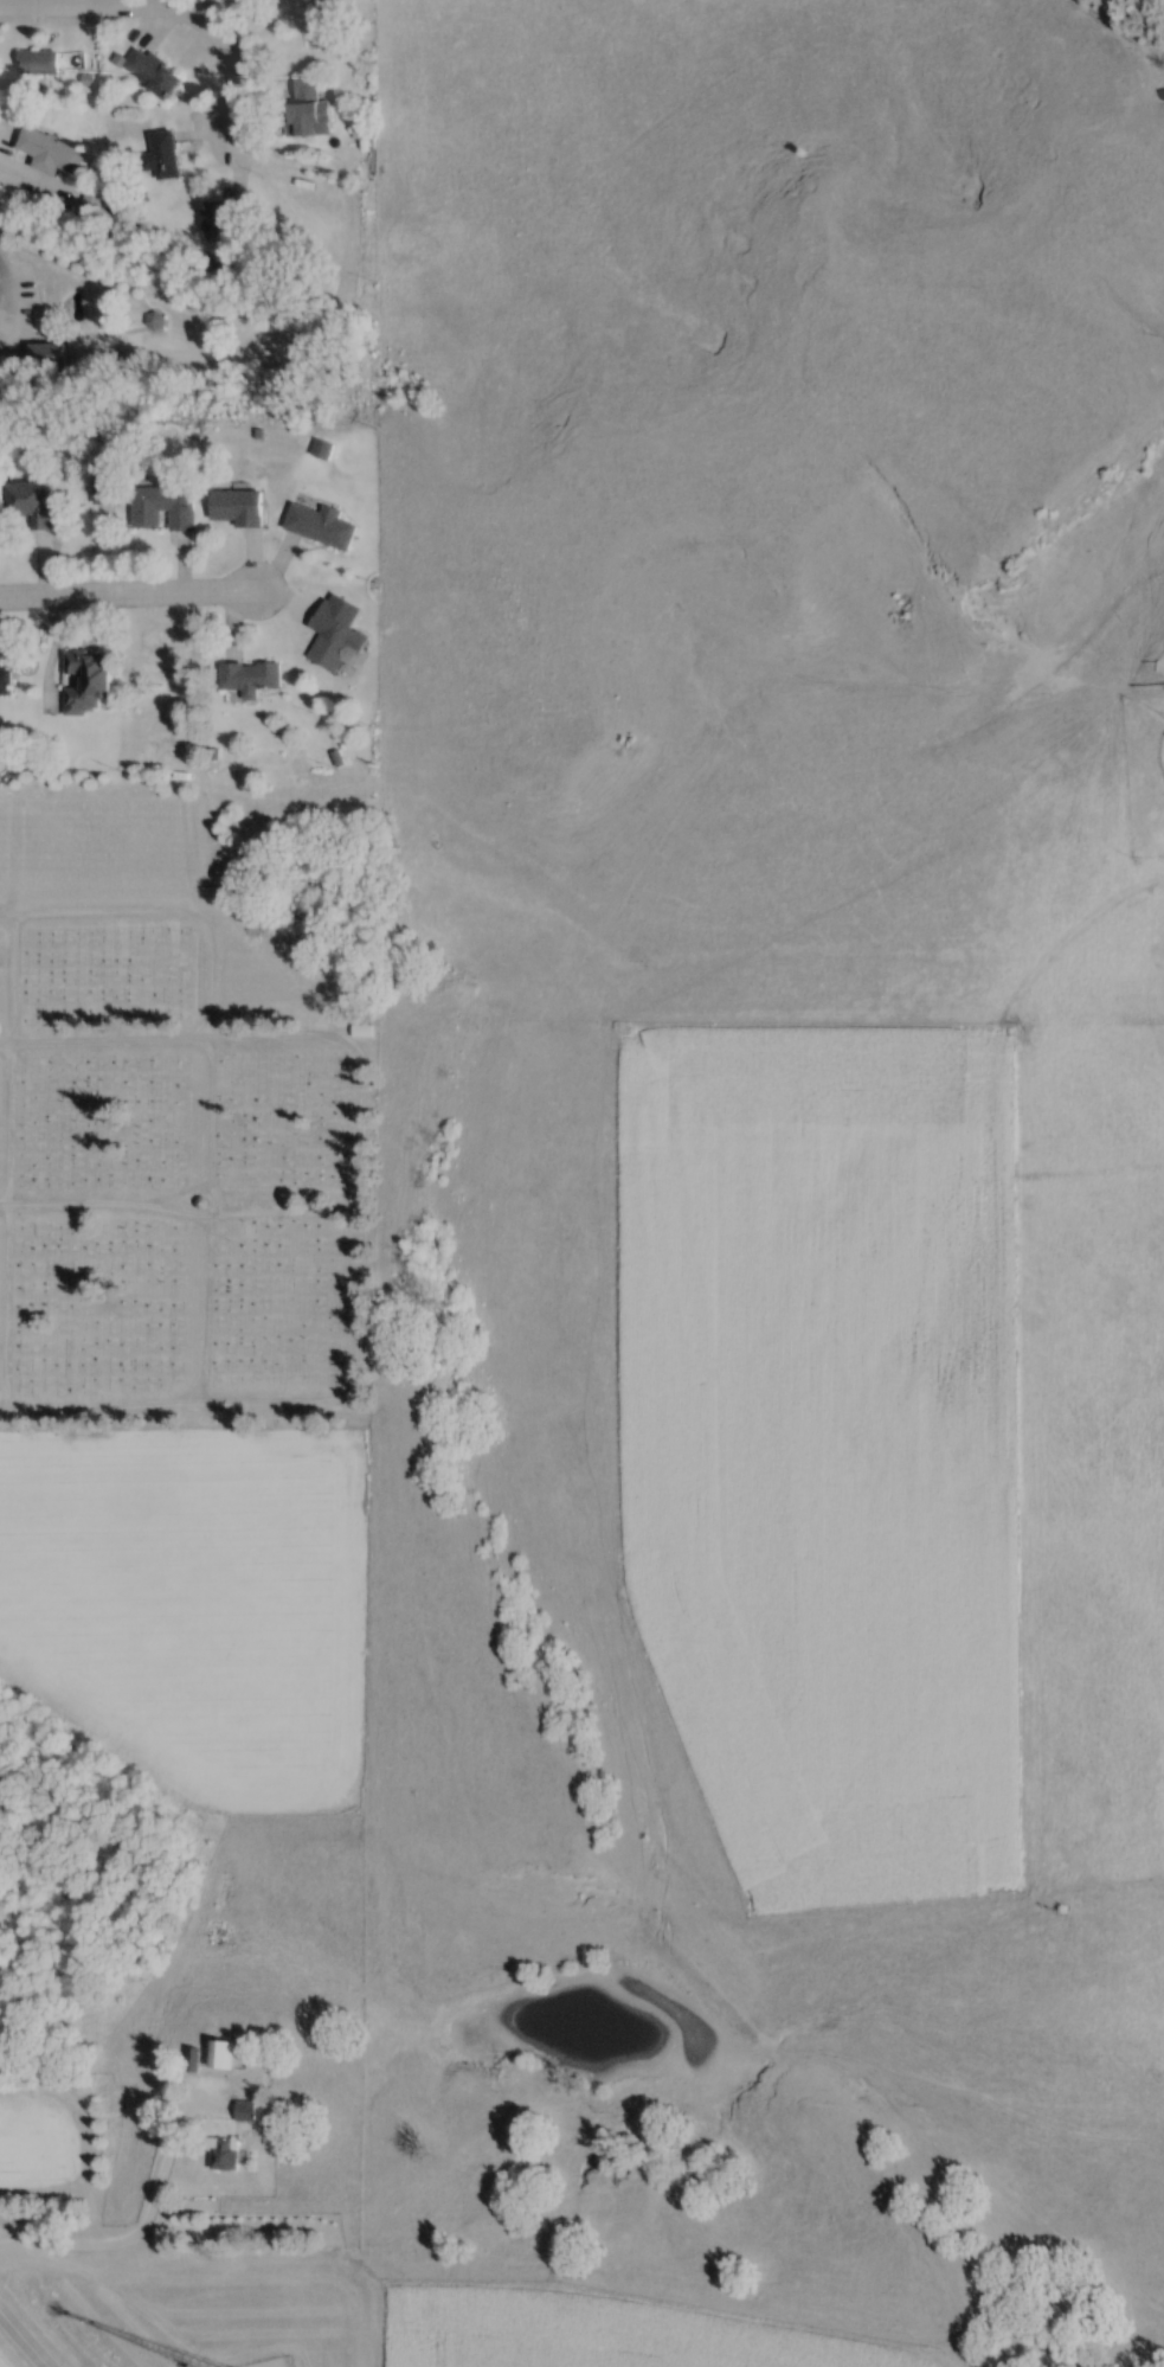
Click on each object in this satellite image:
road: (161, 13)
building: (39, 63)
building: (154, 72)
building: (311, 103)
building: (57, 155)
building: (163, 156)
building: (224, 217)
road: (12, 300)
building: (31, 499)
building: (166, 507)
building: (239, 507)
building: (323, 526)
road: (129, 591)
building: (341, 644)
building: (252, 678)
building: (7, 682)
building: (90, 684)
road: (101, 910)
building: (365, 1032)
road: (167, 1038)
park: (186, 1104)
road: (11, 1161)
road: (210, 1162)
road: (179, 1212)
road: (354, 1385)
building: (224, 2057)
building: (247, 2111)
building: (225, 2154)
road: (152, 2213)
road: (2, 2251)
road: (118, 2290)
road: (25, 2337)

